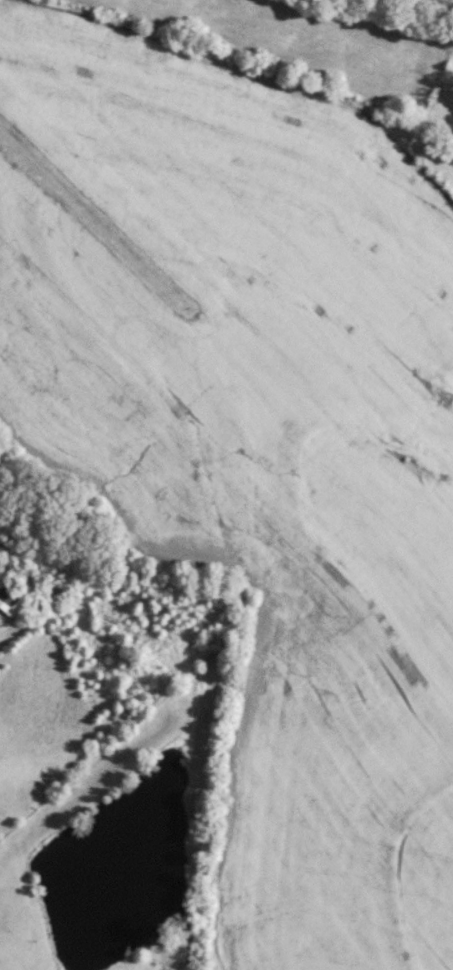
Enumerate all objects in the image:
building: (11, 596)

